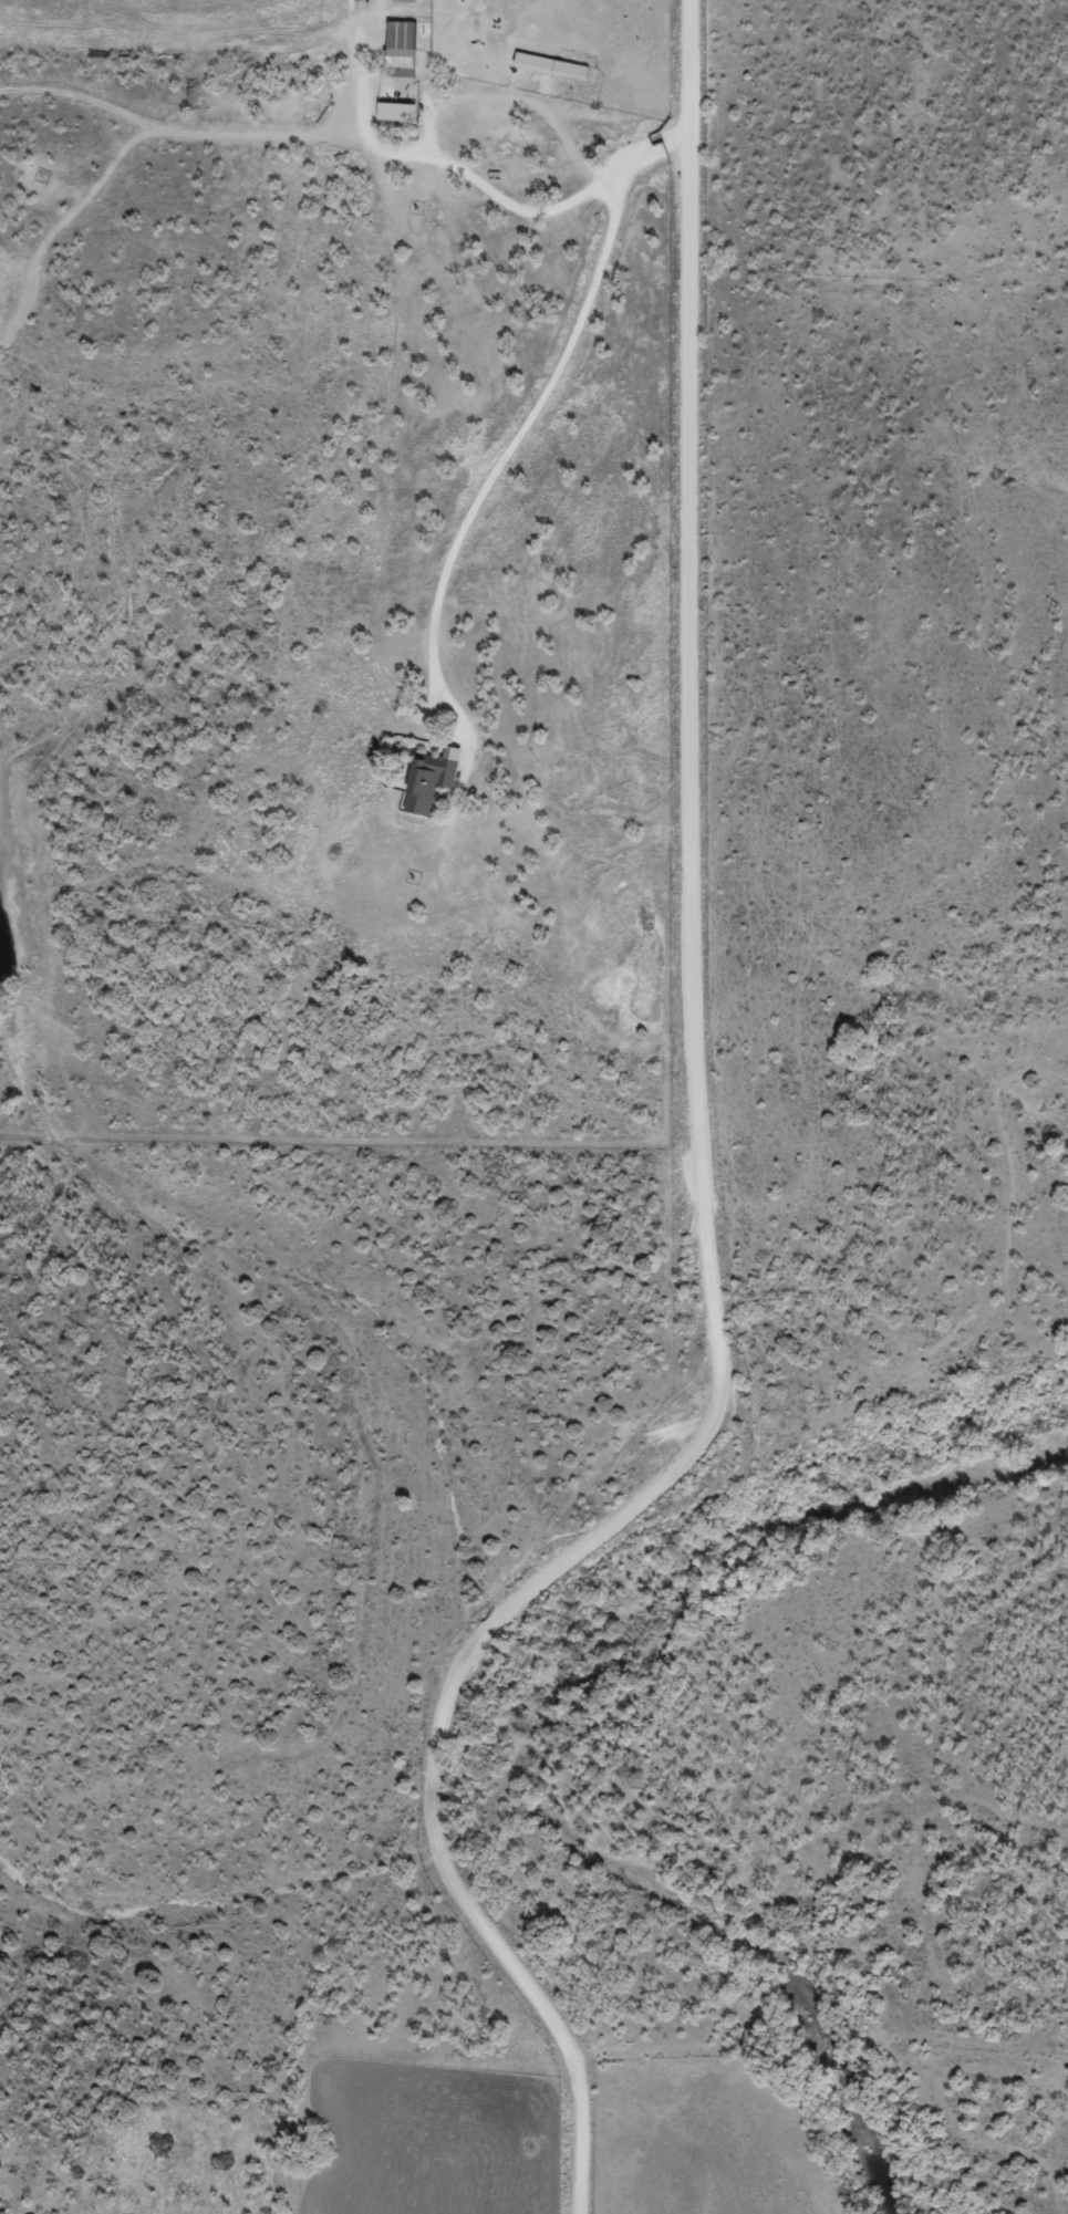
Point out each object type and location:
building: (402, 6)
building: (405, 58)
building: (532, 71)
building: (574, 79)
building: (395, 121)
road: (249, 137)
building: (427, 788)
road: (702, 1186)

